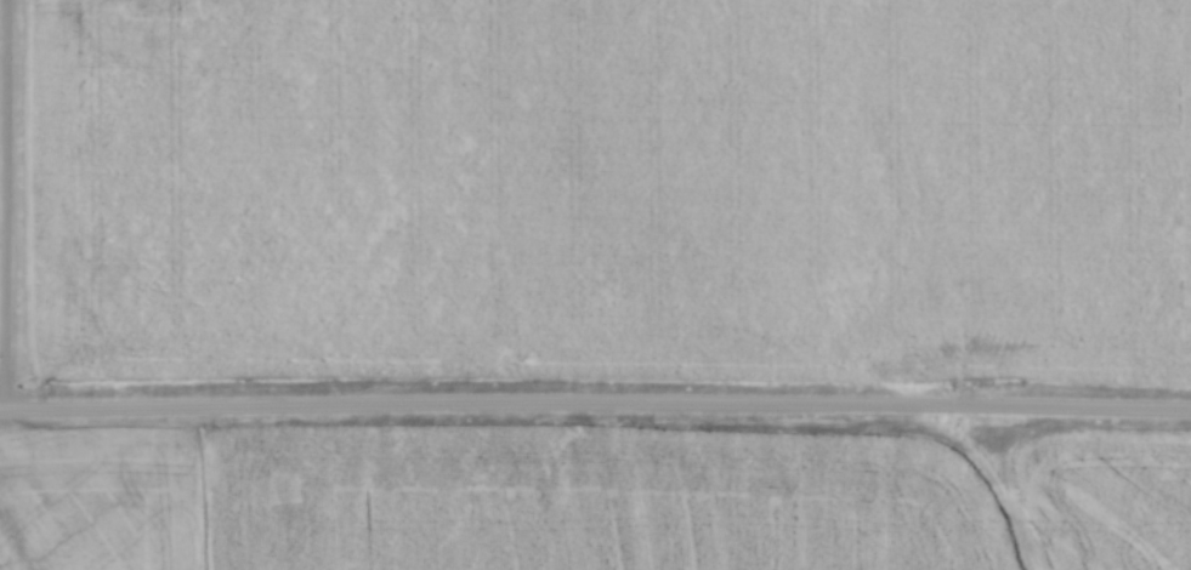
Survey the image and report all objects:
road: (8, 205)
road: (595, 409)

